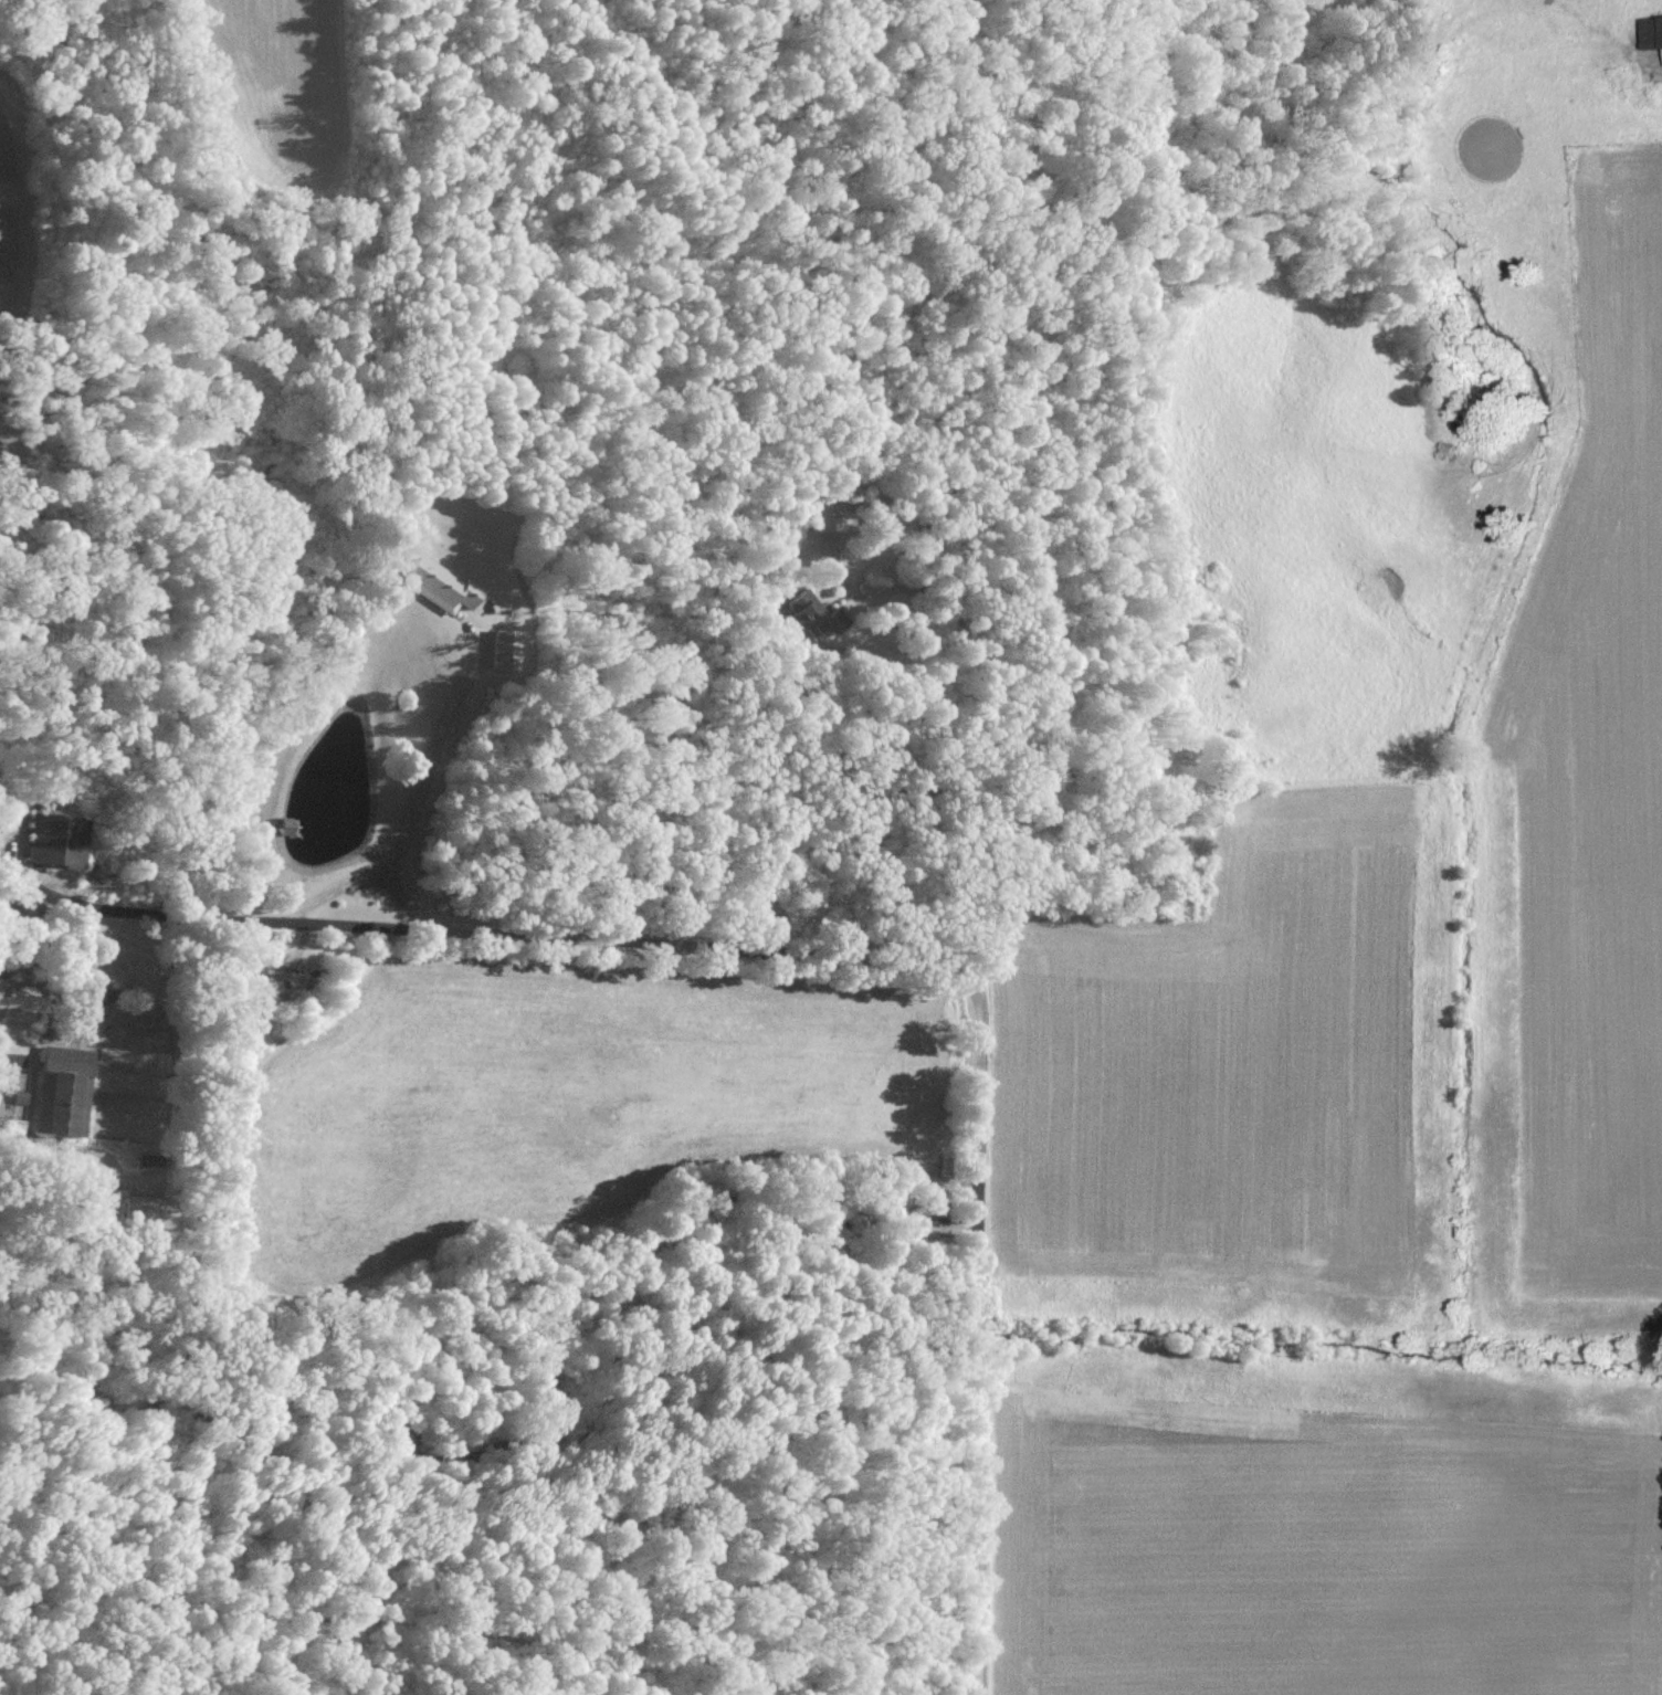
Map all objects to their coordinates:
building: (1652, 31)
building: (443, 583)
building: (809, 615)
building: (507, 649)
road: (433, 749)
building: (57, 839)
road: (370, 875)
road: (840, 955)
building: (2, 988)
building: (29, 991)
building: (65, 1091)
building: (21, 1097)
building: (145, 1211)

